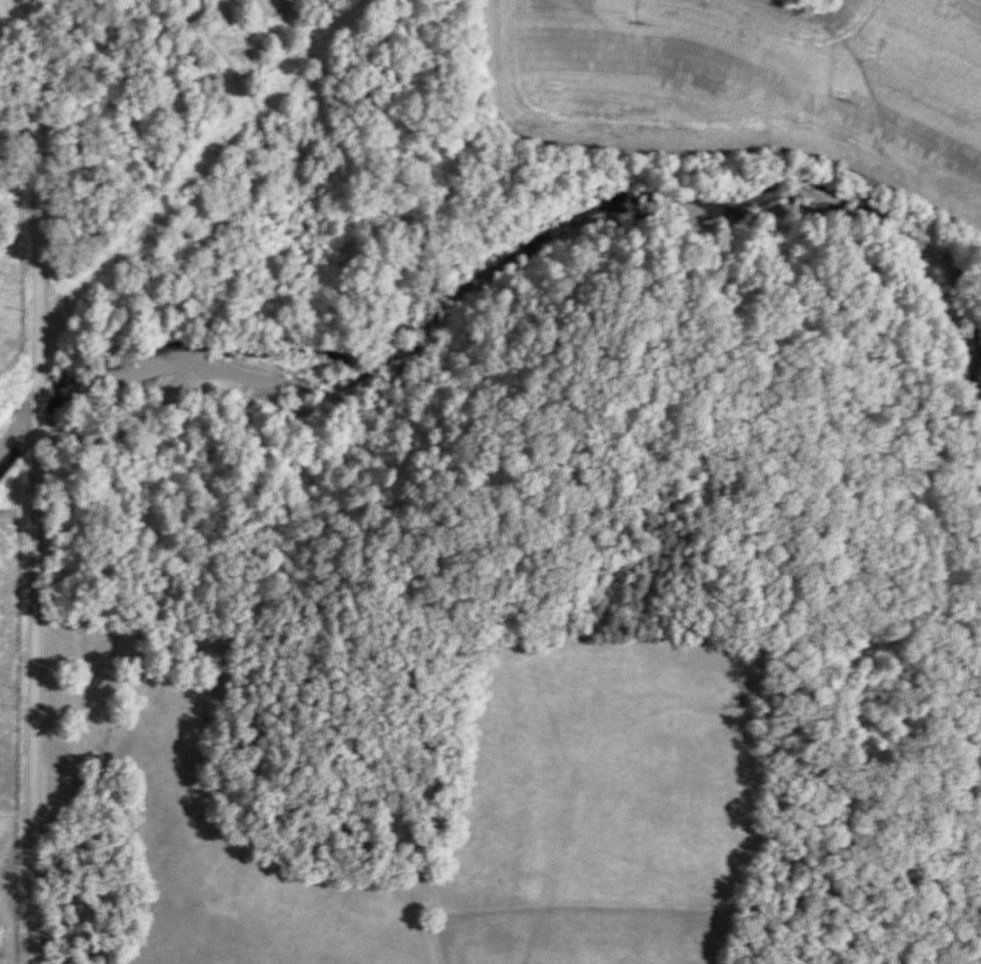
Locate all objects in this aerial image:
road: (34, 482)

